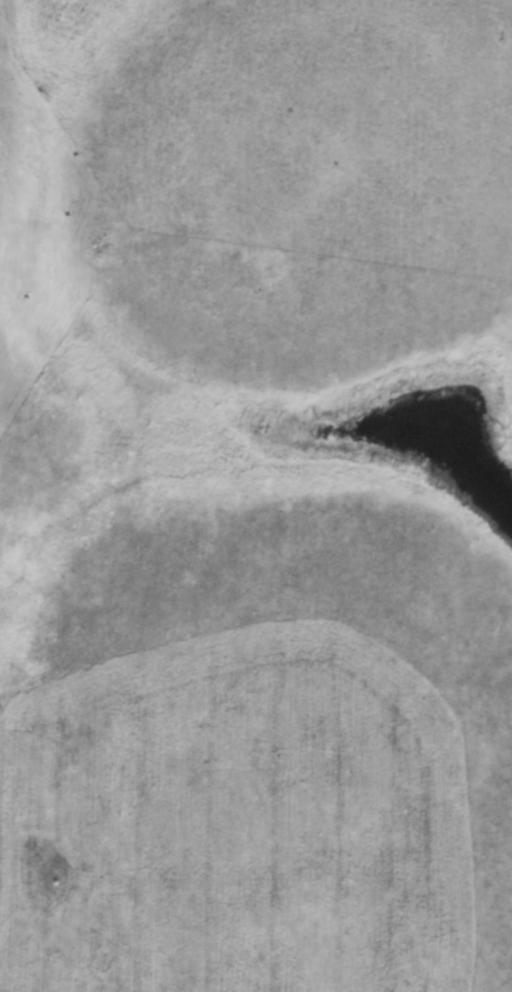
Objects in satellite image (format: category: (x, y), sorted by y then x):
building: (403, 893)

